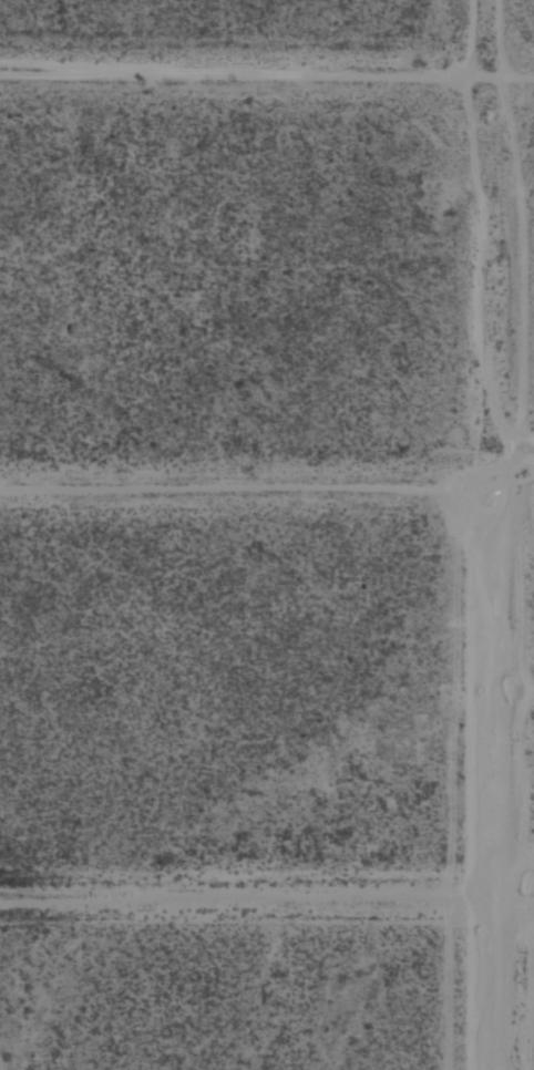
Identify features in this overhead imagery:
road: (267, 73)
road: (267, 487)
road: (501, 535)
road: (267, 897)

